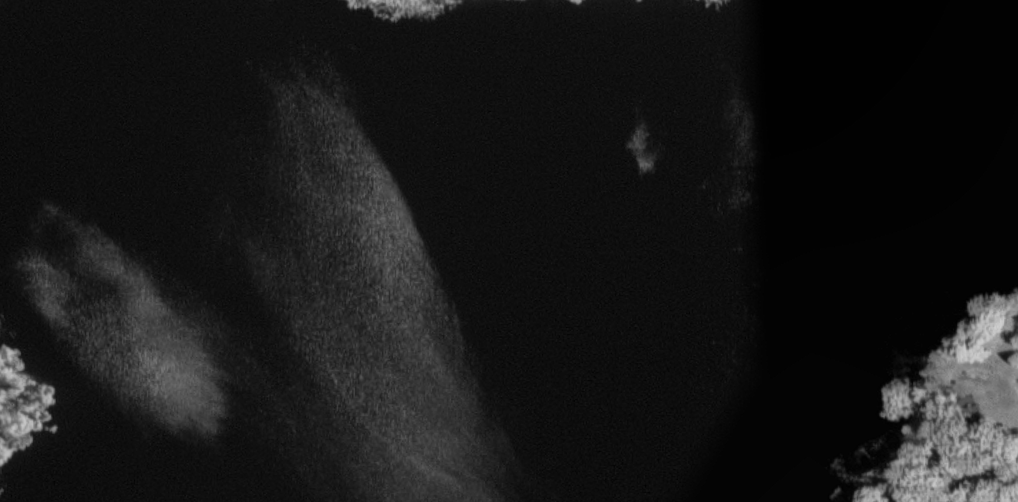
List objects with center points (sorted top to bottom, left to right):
road: (1003, 492)

